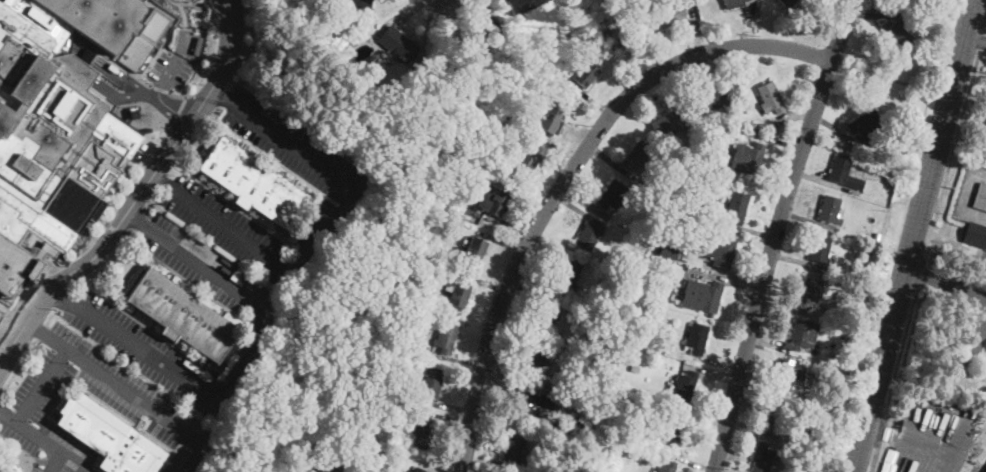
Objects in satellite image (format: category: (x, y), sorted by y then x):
road: (190, 2)
building: (788, 2)
building: (734, 3)
road: (188, 4)
building: (522, 5)
road: (980, 6)
building: (360, 7)
road: (475, 8)
road: (408, 12)
road: (874, 14)
building: (668, 16)
building: (98, 19)
road: (750, 23)
road: (695, 30)
road: (842, 30)
road: (985, 30)
building: (342, 31)
building: (896, 32)
building: (483, 33)
building: (928, 34)
road: (975, 40)
road: (981, 40)
road: (87, 43)
building: (397, 45)
road: (85, 52)
road: (209, 60)
road: (179, 61)
road: (712, 67)
building: (586, 73)
road: (93, 78)
road: (890, 78)
road: (160, 90)
building: (546, 92)
road: (160, 93)
road: (671, 93)
road: (220, 94)
building: (398, 96)
building: (771, 98)
road: (593, 100)
building: (709, 100)
road: (174, 112)
road: (176, 114)
road: (789, 116)
building: (900, 116)
building: (550, 119)
building: (666, 123)
building: (744, 124)
parking lot: (981, 125)
building: (753, 126)
building: (867, 127)
road: (833, 128)
building: (739, 132)
building: (51, 137)
road: (957, 138)
road: (775, 141)
building: (143, 146)
road: (558, 147)
building: (636, 156)
building: (748, 158)
road: (607, 159)
road: (548, 161)
building: (894, 161)
building: (985, 165)
building: (524, 166)
building: (695, 168)
building: (886, 171)
building: (846, 173)
building: (448, 174)
road: (568, 175)
building: (905, 176)
road: (137, 178)
building: (730, 178)
building: (678, 179)
road: (157, 180)
road: (828, 182)
building: (254, 184)
parking lot: (352, 188)
building: (612, 194)
road: (139, 195)
building: (698, 197)
road: (965, 197)
building: (980, 198)
road: (148, 200)
building: (494, 201)
road: (582, 201)
building: (737, 207)
road: (577, 209)
building: (830, 209)
building: (686, 214)
road: (137, 218)
building: (671, 220)
road: (807, 220)
road: (103, 221)
road: (137, 221)
road: (504, 225)
road: (114, 229)
road: (751, 229)
road: (127, 233)
building: (975, 234)
building: (589, 235)
building: (876, 235)
road: (927, 235)
road: (915, 236)
road: (327, 238)
road: (930, 238)
road: (499, 241)
road: (963, 246)
building: (476, 249)
building: (717, 249)
building: (820, 249)
building: (668, 250)
building: (870, 252)
building: (445, 255)
road: (926, 255)
road: (798, 261)
road: (768, 264)
road: (101, 268)
road: (56, 269)
road: (722, 270)
building: (568, 274)
road: (920, 276)
building: (634, 277)
building: (864, 278)
road: (39, 279)
road: (725, 280)
road: (188, 281)
road: (532, 281)
road: (481, 282)
road: (947, 283)
road: (529, 290)
building: (810, 292)
road: (62, 293)
building: (458, 293)
road: (247, 294)
road: (63, 295)
building: (702, 296)
building: (648, 297)
road: (784, 305)
road: (14, 309)
road: (52, 313)
building: (182, 315)
building: (545, 316)
parking lot: (102, 319)
road: (138, 319)
road: (36, 327)
road: (42, 331)
building: (803, 334)
building: (446, 337)
building: (697, 338)
road: (767, 339)
building: (381, 340)
building: (600, 341)
building: (847, 341)
road: (976, 342)
road: (143, 348)
building: (353, 354)
road: (764, 354)
road: (901, 354)
building: (536, 357)
road: (456, 358)
road: (716, 363)
road: (18, 367)
road: (509, 368)
building: (634, 369)
road: (712, 373)
parking lot: (985, 375)
building: (789, 376)
building: (430, 383)
road: (40, 384)
road: (530, 384)
building: (686, 386)
building: (624, 388)
parking lot: (129, 392)
building: (395, 393)
building: (590, 395)
building: (618, 397)
road: (138, 398)
building: (825, 399)
building: (535, 403)
road: (447, 405)
building: (780, 415)
road: (449, 418)
road: (699, 418)
building: (569, 423)
road: (747, 424)
building: (584, 426)
building: (676, 429)
road: (503, 430)
building: (424, 434)
road: (753, 435)
parking lot: (935, 435)
building: (109, 437)
building: (805, 439)
road: (43, 440)
building: (371, 441)
road: (913, 441)
building: (515, 450)
building: (763, 457)
road: (875, 458)
building: (371, 459)
road: (925, 460)
road: (55, 463)
building: (556, 464)
road: (698, 466)
road: (434, 467)
building: (667, 467)
building: (419, 469)
building: (408, 471)
road: (715, 471)
building: (809, 471)

